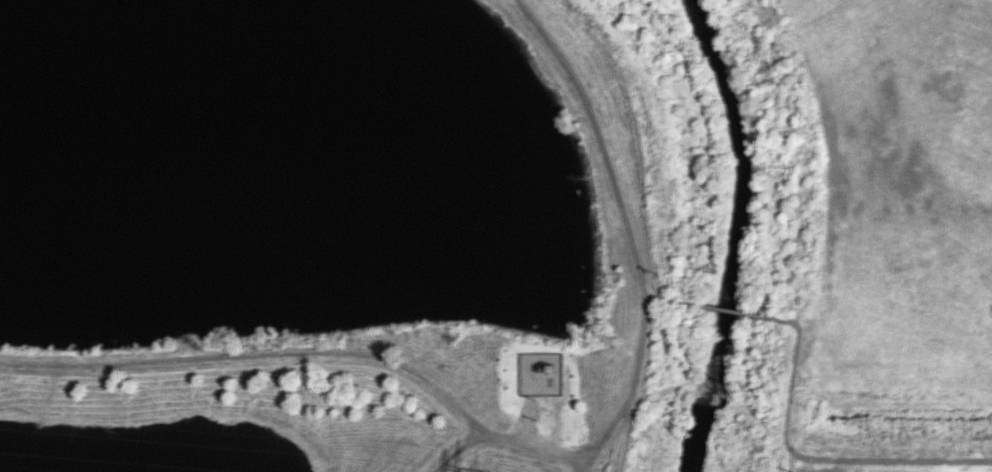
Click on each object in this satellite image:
road: (607, 161)
road: (659, 299)
road: (730, 310)
road: (145, 362)
road: (637, 367)
road: (471, 419)
road: (625, 432)
road: (453, 449)
road: (821, 459)
road: (579, 465)

